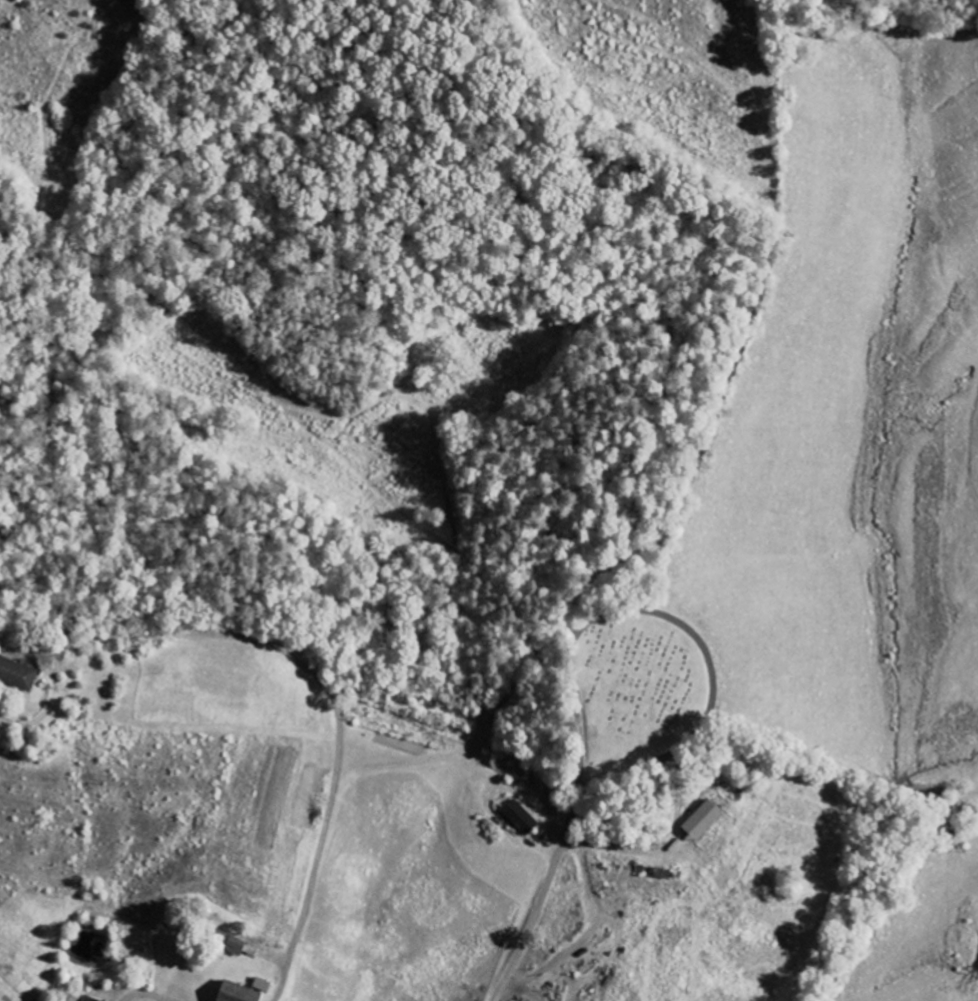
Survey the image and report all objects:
road: (701, 647)
building: (18, 675)
building: (522, 819)
building: (704, 821)
road: (541, 898)
building: (231, 943)
building: (263, 985)
building: (239, 993)
building: (70, 999)
building: (90, 999)

